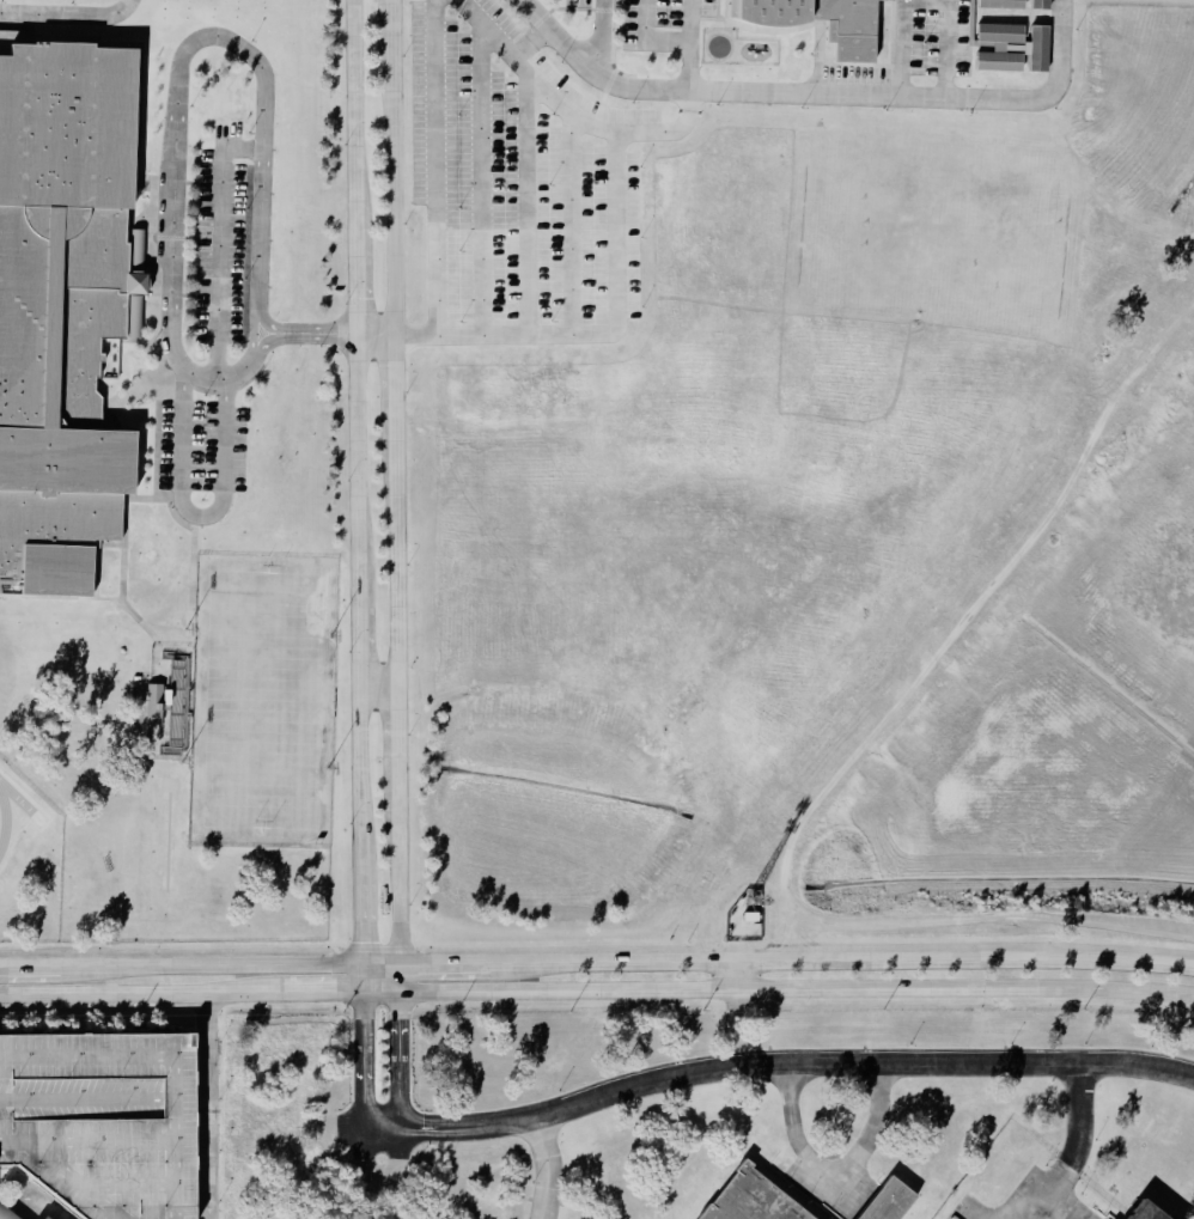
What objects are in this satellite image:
road: (926, 2)
building: (1017, 5)
road: (68, 13)
road: (488, 29)
road: (602, 35)
building: (849, 35)
parking lot: (936, 37)
road: (648, 39)
road: (690, 44)
building: (1015, 49)
parking lot: (860, 80)
road: (179, 83)
road: (818, 92)
road: (435, 114)
road: (572, 116)
road: (528, 223)
road: (622, 225)
building: (59, 303)
road: (397, 335)
road: (225, 395)
road: (397, 482)
road: (358, 495)
road: (379, 684)
park: (261, 695)
building: (157, 702)
road: (841, 964)
road: (227, 965)
road: (443, 965)
road: (30, 968)
road: (738, 977)
road: (396, 979)
road: (597, 991)
road: (396, 1061)
road: (791, 1063)
road: (360, 1078)
road: (208, 1107)
parking lot: (102, 1122)
road: (1067, 1156)
road: (553, 1169)
road: (830, 1193)
building: (750, 1200)
building: (888, 1202)
road: (35, 1205)
building: (1110, 1208)
building: (6, 1213)
building: (1140, 1213)
building: (45, 1218)
building: (87, 1218)

